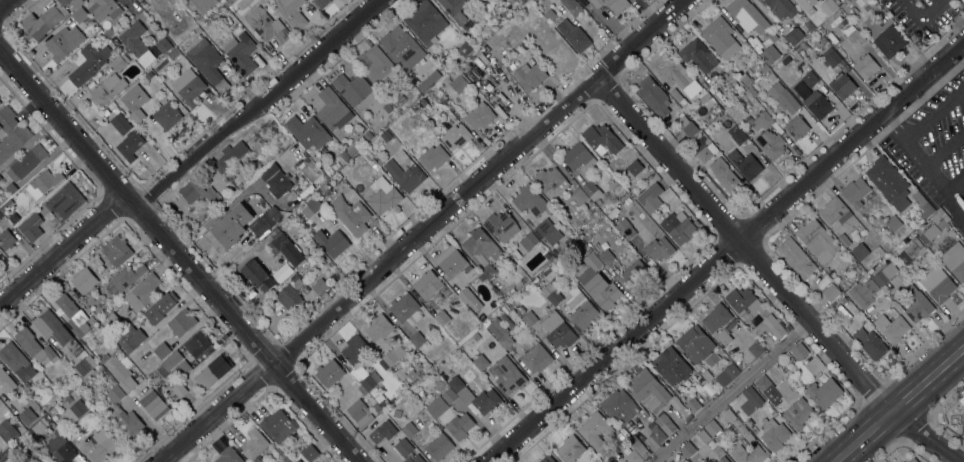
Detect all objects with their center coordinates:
building: (521, 1)
building: (838, 1)
road: (4, 3)
building: (173, 3)
building: (321, 3)
building: (612, 4)
building: (572, 6)
building: (780, 7)
building: (104, 9)
building: (455, 9)
building: (77, 10)
building: (291, 12)
building: (550, 13)
building: (747, 15)
road: (920, 17)
building: (425, 19)
building: (45, 20)
building: (266, 24)
building: (809, 25)
building: (823, 29)
building: (110, 31)
building: (574, 34)
building: (794, 35)
building: (134, 37)
building: (721, 37)
building: (855, 38)
building: (757, 40)
building: (64, 41)
building: (890, 41)
building: (163, 44)
building: (799, 46)
building: (402, 47)
building: (464, 48)
building: (241, 51)
building: (173, 52)
building: (696, 52)
building: (769, 54)
building: (830, 57)
building: (206, 59)
building: (786, 59)
building: (119, 61)
building: (89, 62)
building: (791, 63)
building: (866, 66)
building: (379, 67)
building: (763, 67)
building: (779, 70)
building: (849, 71)
building: (675, 73)
building: (149, 74)
building: (530, 75)
building: (771, 76)
building: (745, 78)
building: (809, 78)
building: (429, 80)
building: (446, 80)
building: (460, 82)
building: (842, 85)
building: (188, 86)
building: (107, 88)
building: (355, 91)
building: (752, 91)
building: (654, 96)
building: (400, 97)
building: (704, 97)
building: (783, 97)
building: (680, 99)
building: (423, 100)
building: (0, 102)
building: (133, 103)
road: (256, 104)
building: (817, 104)
building: (387, 107)
building: (333, 109)
road: (934, 112)
building: (167, 115)
building: (479, 115)
building: (7, 118)
building: (759, 120)
building: (119, 122)
building: (403, 123)
building: (687, 125)
building: (796, 126)
building: (307, 131)
building: (747, 131)
building: (736, 133)
building: (386, 134)
building: (368, 135)
building: (456, 136)
building: (602, 138)
building: (13, 141)
building: (772, 144)
building: (130, 145)
road: (944, 147)
building: (352, 150)
building: (273, 152)
building: (706, 152)
building: (432, 153)
building: (229, 155)
building: (344, 155)
building: (577, 155)
building: (26, 162)
building: (745, 163)
road: (922, 163)
building: (239, 166)
building: (633, 168)
building: (258, 169)
building: (407, 170)
building: (725, 175)
building: (0, 176)
building: (230, 176)
building: (276, 179)
building: (550, 181)
building: (889, 181)
building: (41, 184)
building: (239, 185)
building: (11, 187)
building: (198, 190)
building: (591, 190)
building: (855, 191)
building: (319, 195)
building: (384, 195)
building: (579, 196)
building: (650, 197)
building: (531, 200)
building: (65, 201)
building: (922, 203)
building: (310, 207)
road: (220, 209)
building: (835, 210)
building: (598, 213)
building: (944, 213)
building: (1, 214)
building: (350, 214)
building: (580, 216)
building: (265, 221)
building: (696, 222)
building: (893, 222)
building: (501, 225)
building: (31, 226)
building: (228, 227)
building: (680, 227)
building: (933, 227)
building: (545, 228)
building: (625, 228)
road: (423, 232)
building: (6, 238)
building: (817, 239)
building: (844, 239)
building: (528, 240)
building: (331, 241)
building: (480, 243)
building: (576, 243)
building: (565, 244)
building: (284, 246)
road: (741, 246)
building: (659, 248)
road: (726, 249)
road: (62, 250)
building: (117, 250)
building: (860, 250)
building: (911, 250)
road: (179, 256)
building: (562, 256)
building: (606, 256)
building: (796, 257)
building: (955, 259)
building: (452, 262)
building: (856, 268)
building: (488, 271)
building: (281, 272)
building: (635, 272)
building: (885, 273)
building: (257, 274)
building: (480, 277)
building: (124, 278)
building: (296, 279)
building: (84, 280)
building: (598, 282)
building: (937, 283)
building: (320, 286)
building: (430, 286)
building: (869, 287)
building: (143, 291)
building: (831, 291)
building: (551, 293)
building: (852, 293)
building: (465, 294)
building: (288, 296)
building: (842, 299)
building: (744, 300)
building: (859, 303)
building: (917, 303)
building: (161, 308)
building: (505, 308)
building: (581, 308)
building: (405, 309)
building: (852, 310)
building: (73, 314)
building: (442, 317)
building: (716, 317)
building: (529, 318)
building: (111, 321)
building: (182, 322)
building: (771, 326)
building: (379, 327)
building: (891, 327)
building: (557, 329)
building: (60, 331)
building: (500, 332)
building: (476, 336)
building: (724, 336)
building: (129, 337)
building: (417, 339)
building: (198, 342)
building: (870, 343)
building: (34, 345)
building: (697, 345)
building: (146, 348)
building: (354, 348)
building: (162, 349)
building: (756, 349)
building: (799, 350)
building: (786, 354)
building: (392, 356)
building: (536, 357)
building: (15, 358)
building: (172, 359)
building: (481, 361)
building: (85, 364)
building: (671, 365)
building: (183, 367)
building: (213, 371)
building: (329, 372)
building: (120, 373)
building: (399, 373)
building: (411, 374)
building: (508, 374)
building: (706, 374)
building: (727, 374)
building: (697, 377)
building: (6, 380)
building: (369, 382)
building: (763, 383)
building: (67, 385)
building: (179, 387)
building: (51, 388)
building: (708, 388)
building: (648, 390)
road: (725, 390)
building: (374, 391)
building: (824, 392)
building: (963, 392)
building: (115, 394)
building: (449, 395)
building: (476, 395)
building: (379, 397)
building: (962, 399)
building: (751, 400)
building: (153, 403)
building: (383, 403)
road: (897, 403)
building: (692, 404)
building: (376, 406)
building: (437, 406)
building: (78, 407)
building: (621, 407)
building: (727, 410)
building: (669, 411)
building: (683, 411)
building: (360, 412)
building: (396, 412)
building: (797, 413)
building: (27, 415)
building: (129, 420)
building: (748, 421)
building: (665, 423)
building: (278, 424)
building: (39, 425)
building: (459, 425)
building: (712, 427)
building: (409, 429)
building: (596, 430)
building: (8, 431)
building: (656, 432)
building: (745, 432)
building: (773, 433)
building: (377, 434)
building: (703, 435)
road: (922, 436)
building: (2, 443)
building: (255, 443)
building: (638, 445)
building: (102, 446)
building: (403, 446)
building: (439, 446)
building: (691, 446)
building: (60, 447)
building: (570, 448)
building: (767, 450)
building: (39, 452)
building: (309, 452)
building: (6, 453)
building: (750, 454)
building: (229, 455)
building: (633, 456)
building: (413, 458)
building: (546, 459)
building: (722, 459)
building: (299, 460)
building: (913, 460)
building: (0, 461)
building: (285, 461)
building: (902, 461)

